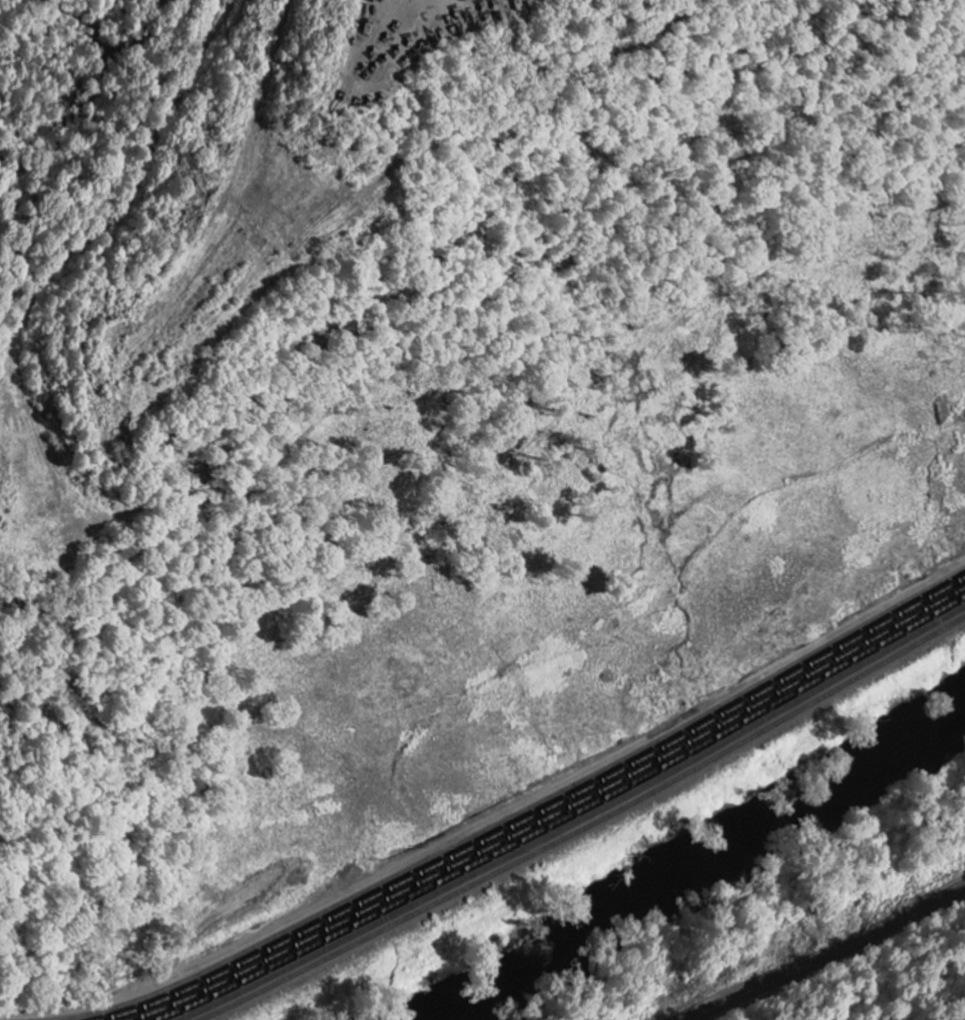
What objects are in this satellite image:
railway: (576, 820)
railway: (585, 823)
river: (698, 864)
road: (827, 955)

